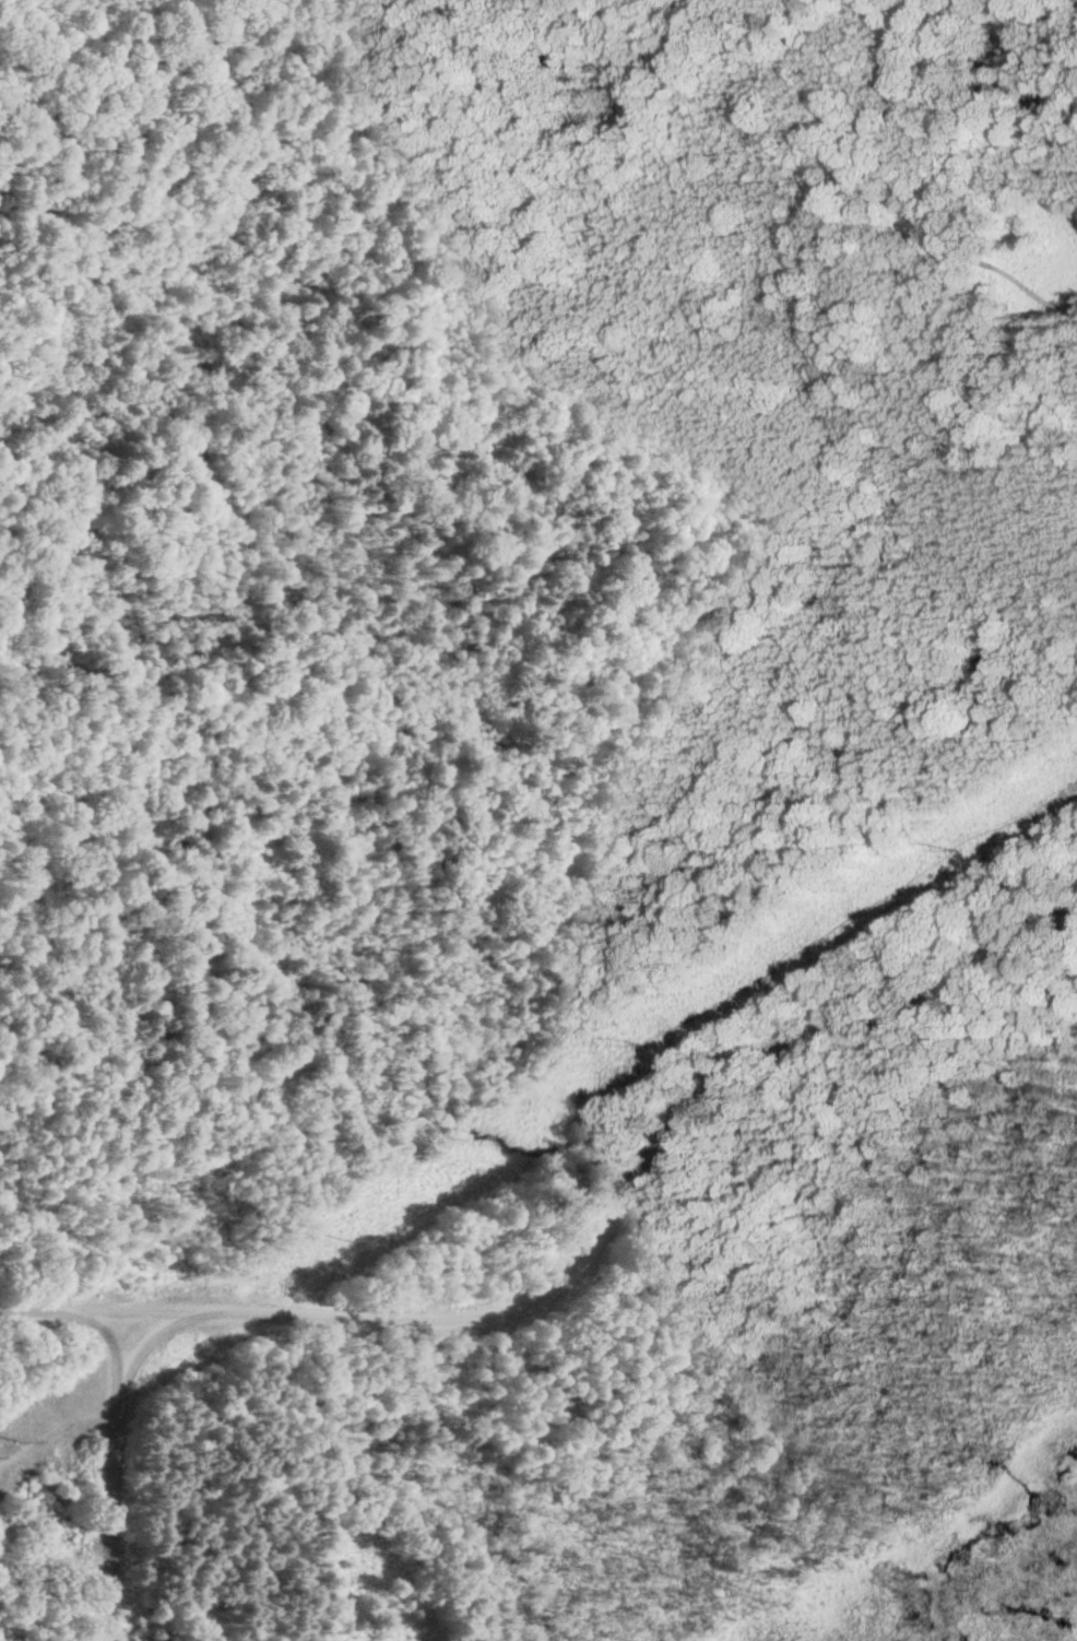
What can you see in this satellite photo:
road: (909, 260)
road: (587, 1250)
road: (110, 1477)

